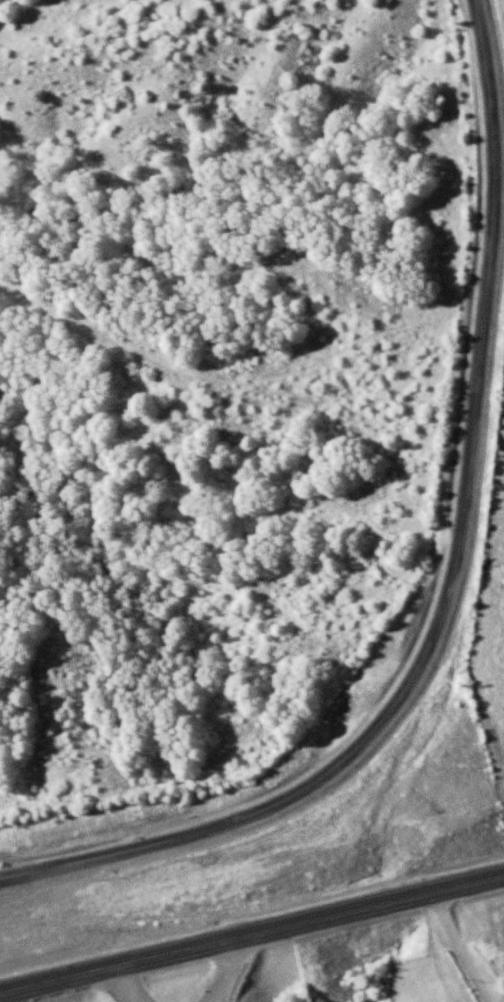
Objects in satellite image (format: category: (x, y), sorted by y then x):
road: (451, 577)
road: (252, 930)
road: (463, 945)
road: (232, 968)
road: (126, 983)

